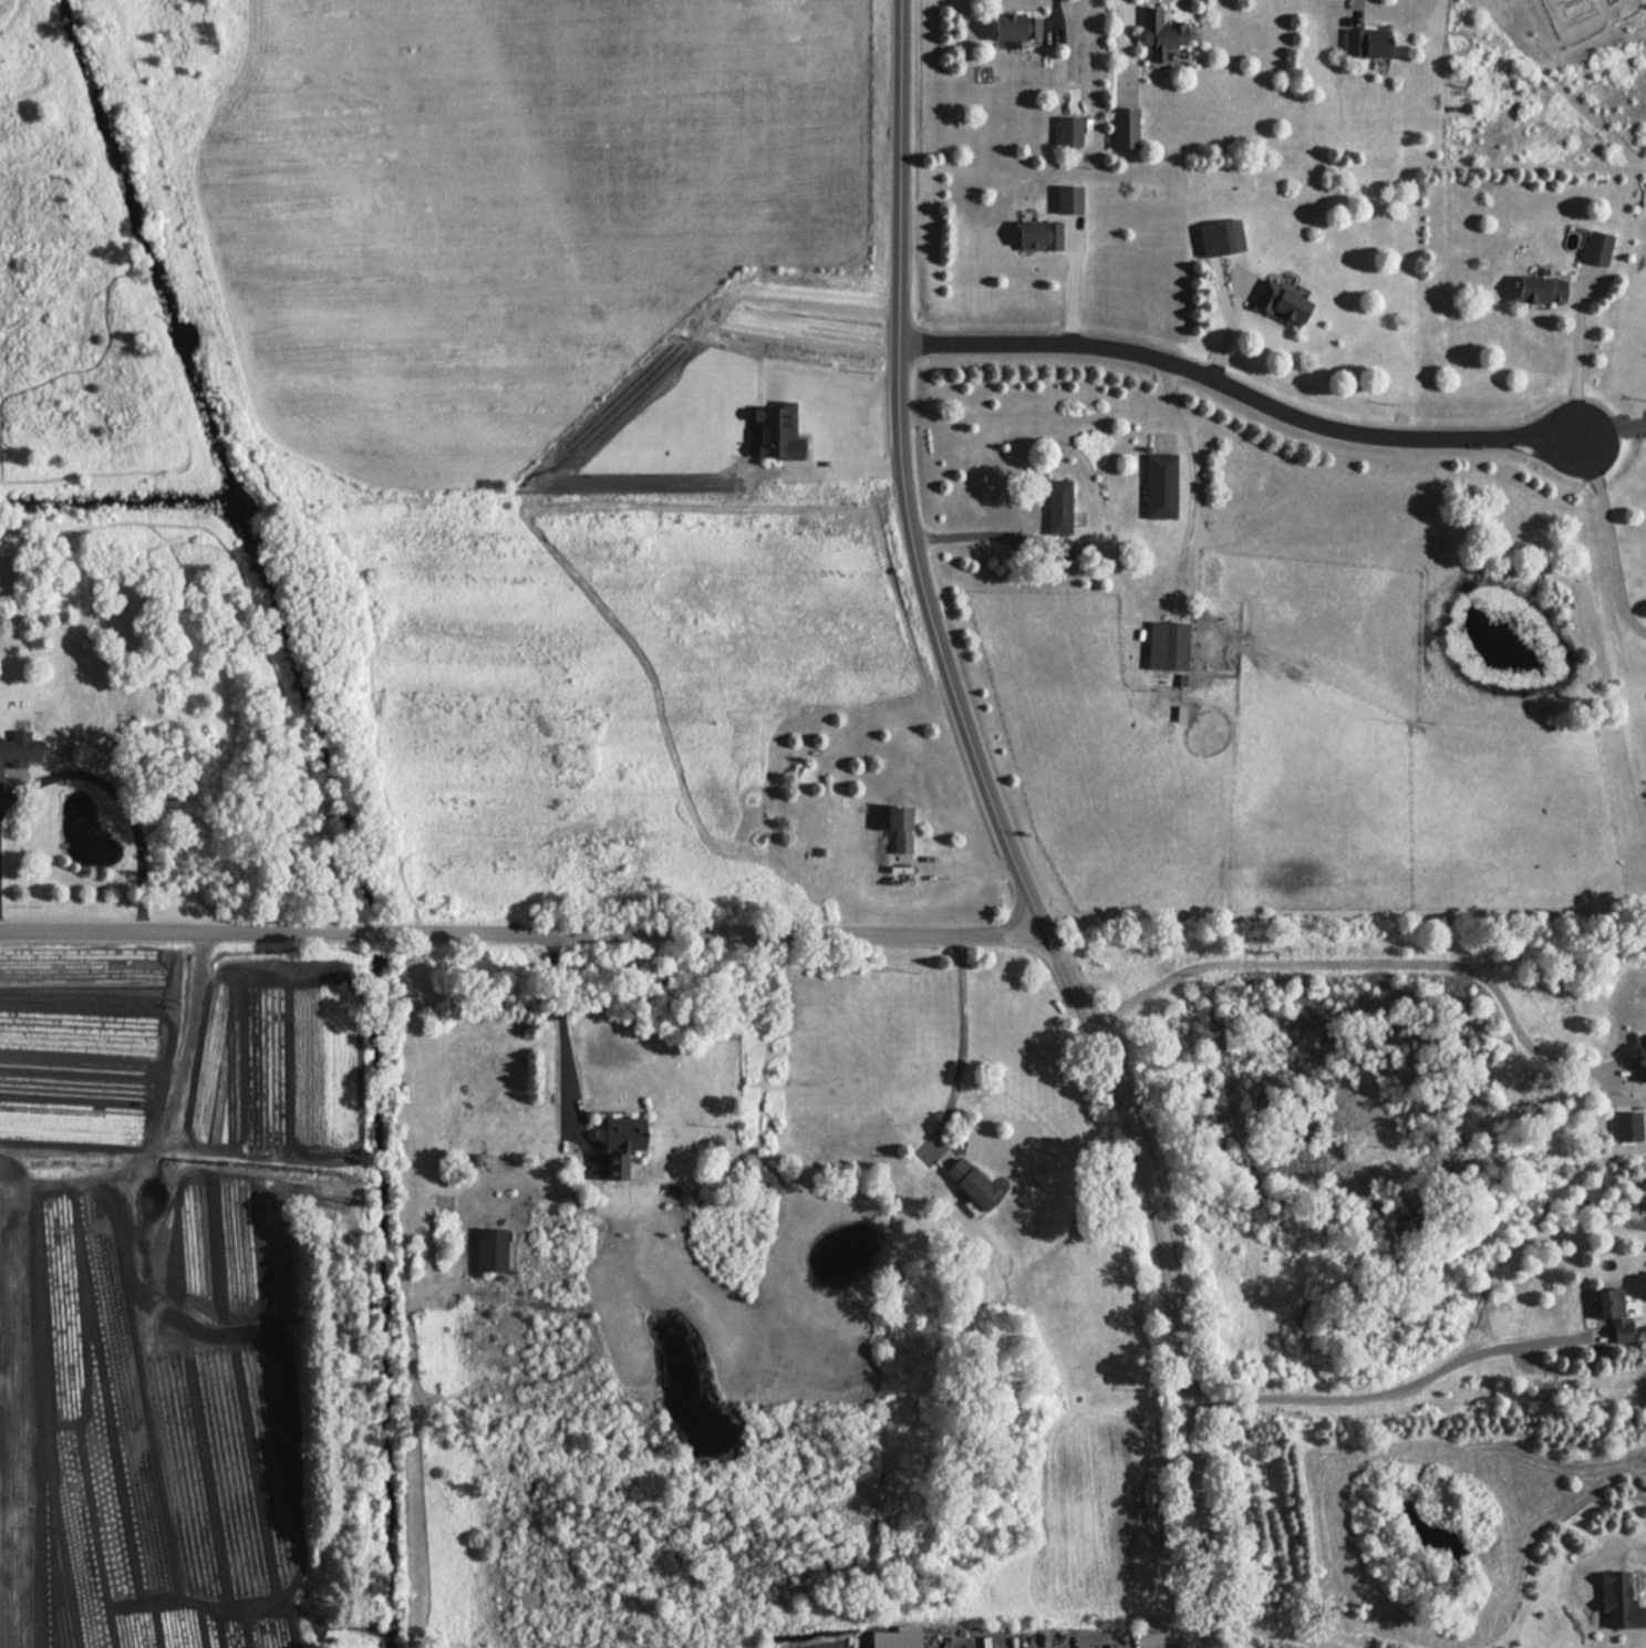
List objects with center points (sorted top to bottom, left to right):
road: (1355, 11)
road: (1055, 19)
building: (1017, 27)
building: (1161, 35)
building: (1367, 43)
road: (1126, 52)
building: (1125, 128)
building: (1068, 131)
building: (1068, 199)
building: (1038, 236)
building: (1221, 237)
building: (1596, 248)
building: (1541, 289)
building: (1282, 303)
road: (1576, 364)
road: (1240, 392)
building: (778, 432)
road: (1613, 443)
road: (845, 462)
building: (1160, 486)
building: (1058, 507)
road: (977, 529)
road: (1611, 538)
building: (1168, 645)
building: (19, 749)
road: (118, 800)
building: (900, 828)
road: (1008, 832)
road: (521, 936)
road: (1370, 964)
road: (565, 1038)
road: (963, 1040)
building: (1642, 1063)
building: (1627, 1126)
building: (622, 1143)
building: (973, 1183)
building: (1643, 1193)
building: (491, 1250)
building: (1614, 1313)
road: (1384, 1393)
building: (1621, 1599)
road: (1182, 1628)
road: (1271, 1630)
building: (894, 1639)

